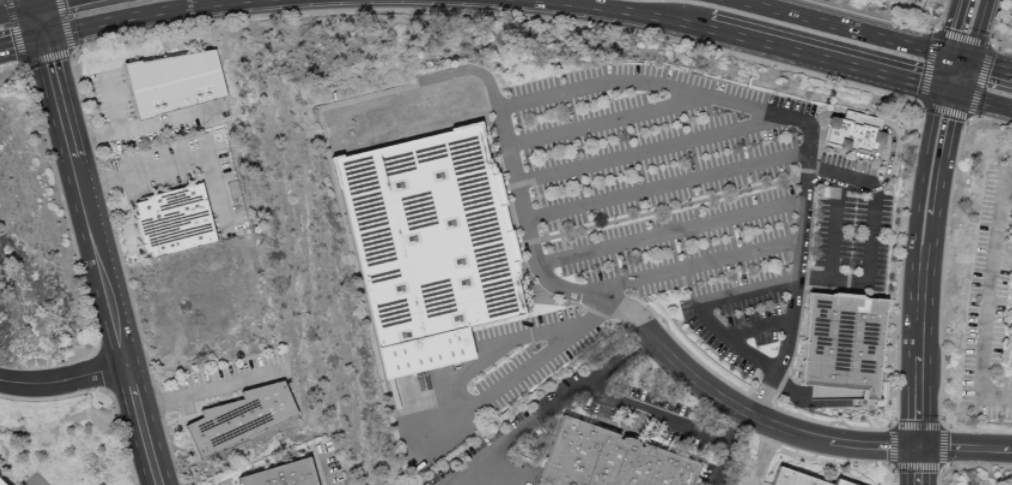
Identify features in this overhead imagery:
road: (35, 3)
road: (52, 3)
traffic signals: (36, 7)
road: (18, 11)
road: (148, 15)
road: (40, 22)
road: (837, 26)
road: (953, 27)
road: (974, 29)
traffic signals: (44, 37)
road: (731, 37)
road: (22, 42)
traffic signals: (946, 54)
road: (956, 56)
traffic signals: (966, 59)
road: (989, 65)
road: (942, 71)
road: (962, 76)
building: (174, 82)
traffic signals: (938, 89)
road: (948, 91)
traffic signals: (958, 94)
road: (59, 97)
road: (985, 101)
road: (110, 105)
road: (821, 115)
road: (596, 119)
building: (856, 119)
road: (856, 120)
road: (801, 121)
road: (140, 126)
building: (846, 135)
road: (645, 149)
road: (176, 165)
road: (919, 179)
road: (939, 182)
road: (879, 186)
road: (666, 187)
road: (518, 197)
building: (177, 219)
parking lot: (853, 219)
road: (669, 231)
road: (836, 234)
building: (1010, 234)
building: (427, 247)
road: (100, 261)
road: (691, 270)
road: (753, 288)
road: (989, 300)
road: (761, 324)
building: (1006, 340)
building: (842, 343)
road: (608, 349)
road: (917, 377)
road: (64, 381)
road: (209, 388)
road: (401, 412)
building: (245, 416)
road: (762, 421)
road: (141, 425)
road: (676, 426)
road: (526, 433)
road: (963, 449)
road: (760, 455)
building: (615, 459)
road: (317, 468)
building: (289, 474)
building: (805, 478)
building: (1, 483)
road: (35, 483)
building: (1006, 484)

